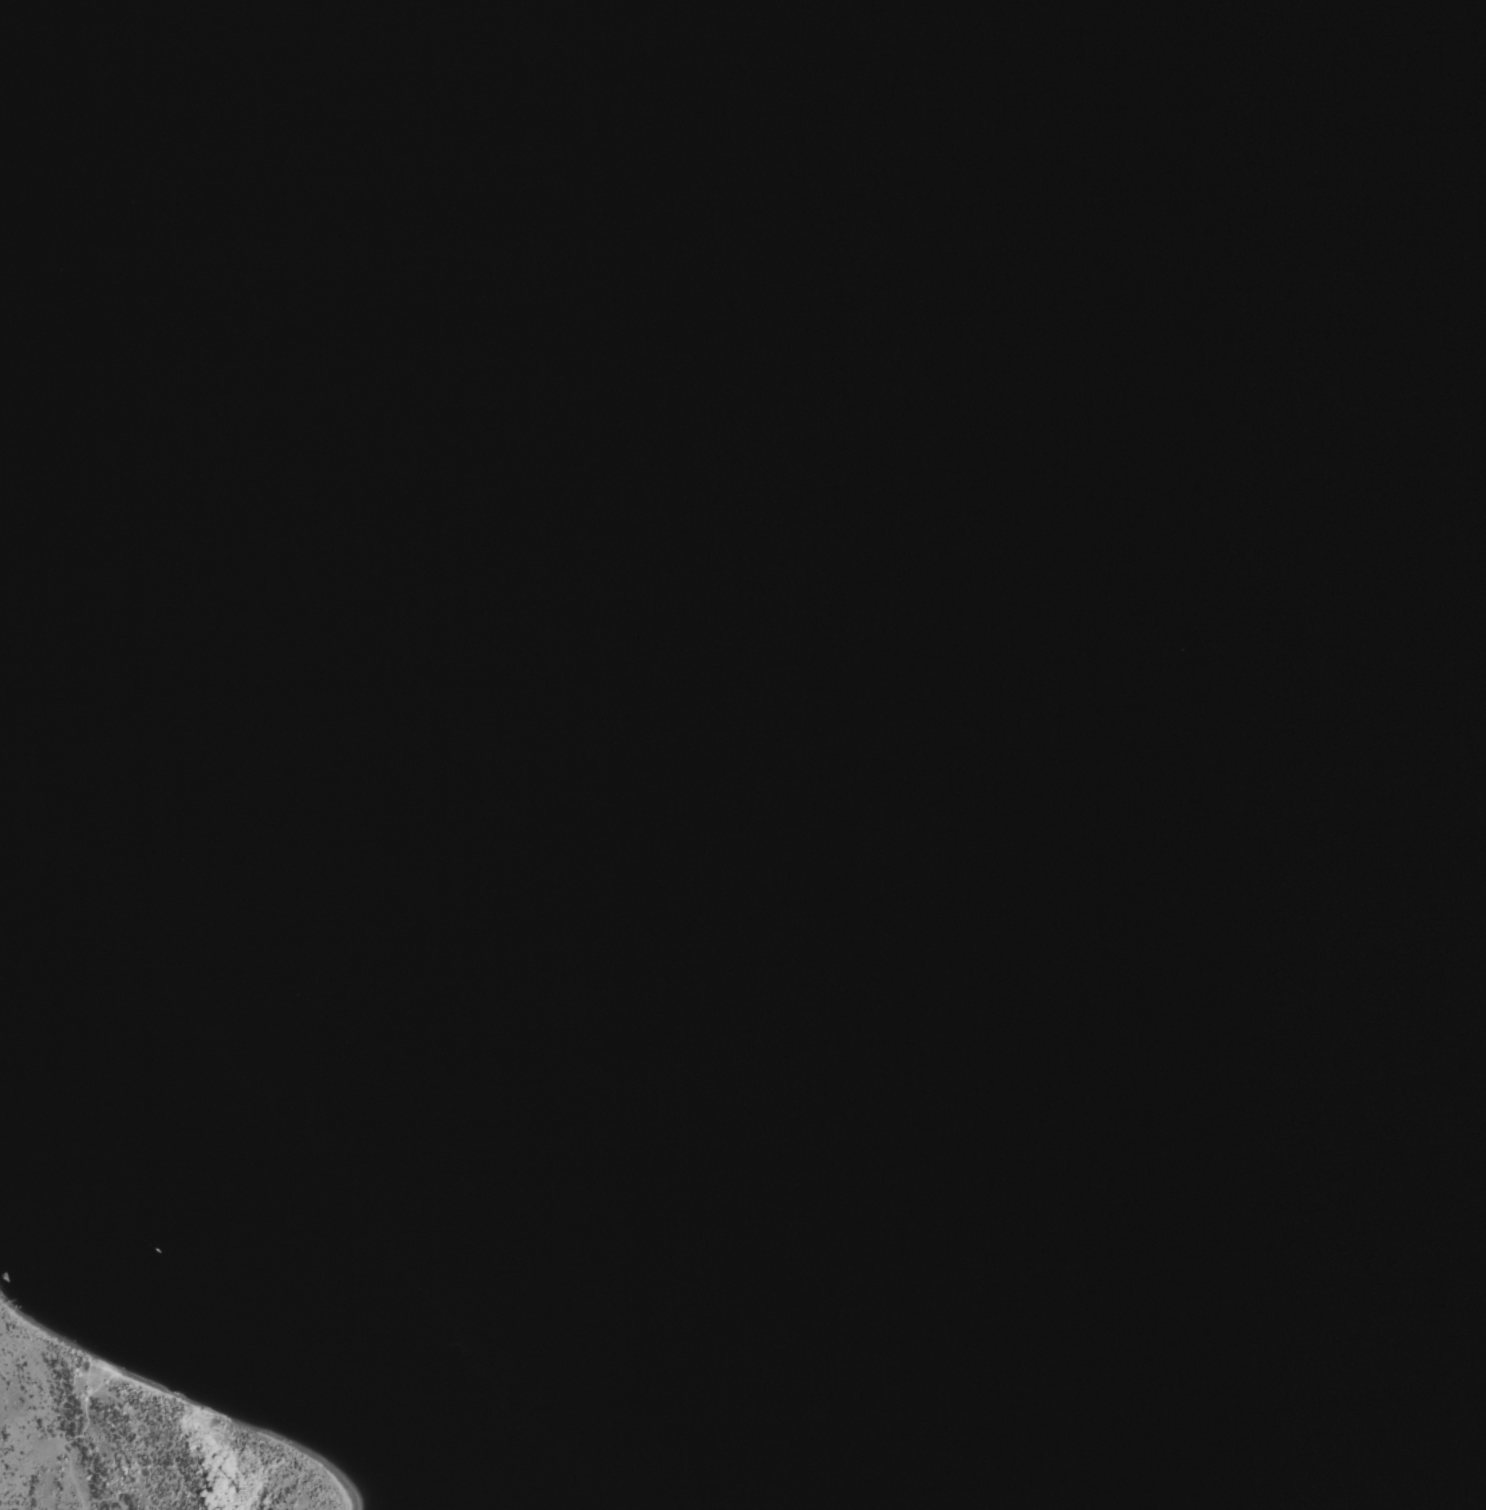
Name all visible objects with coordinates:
road: (81, 1437)

